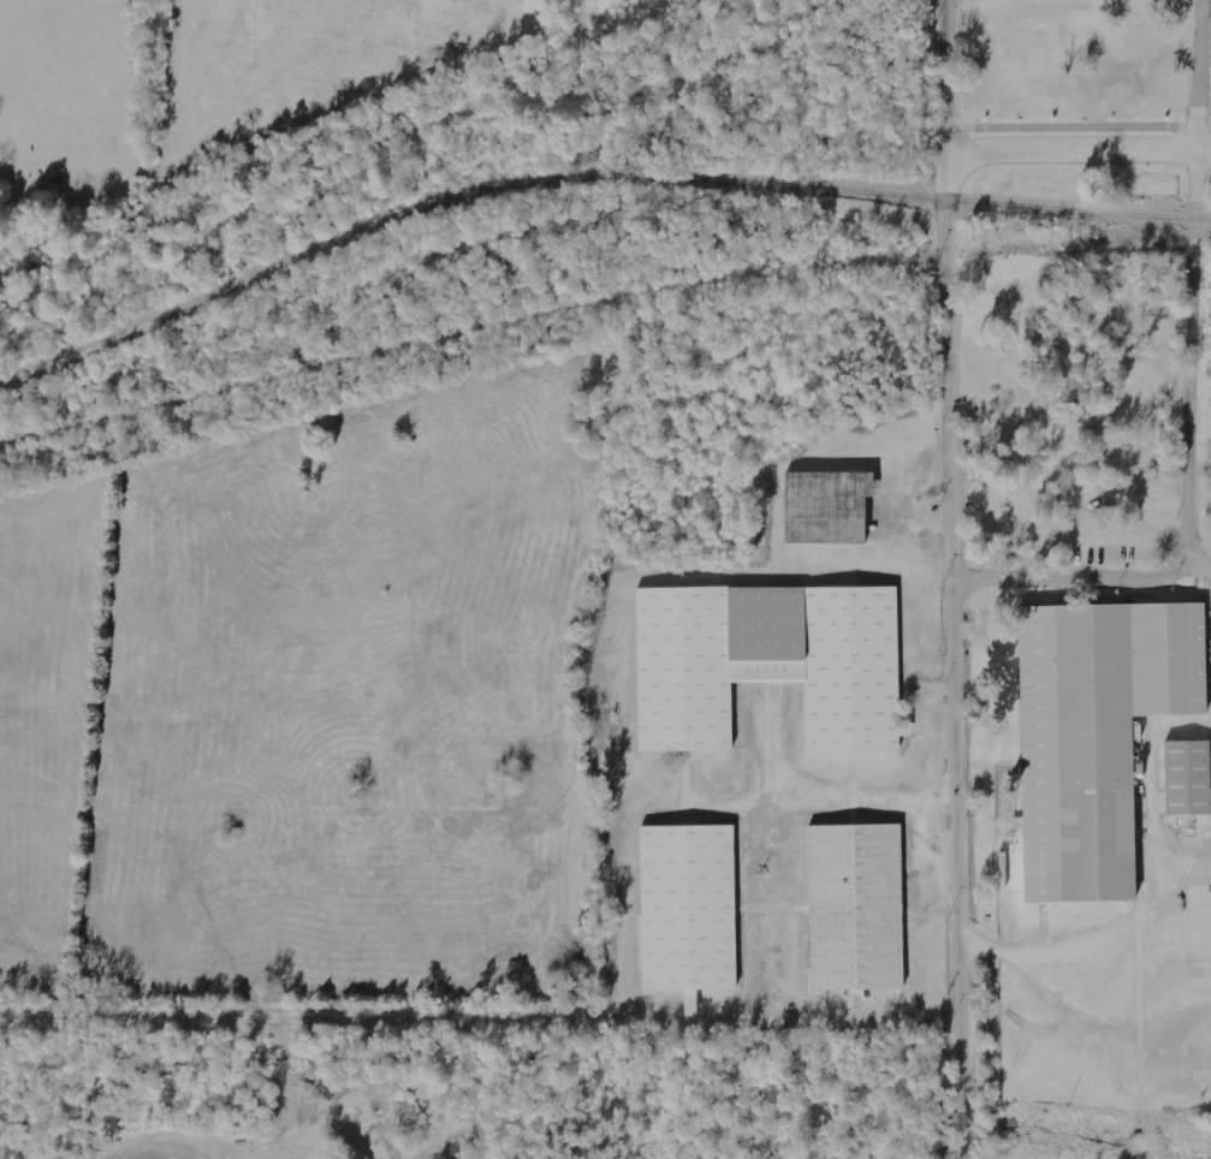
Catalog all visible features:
road: (1079, 126)
road: (1079, 149)
railway: (587, 176)
railway: (1069, 239)
railway: (1207, 243)
building: (1210, 266)
road: (1192, 275)
railway: (459, 333)
building: (826, 506)
road: (949, 578)
road: (1075, 581)
building: (767, 662)
building: (1094, 735)
building: (1186, 778)
building: (687, 909)
building: (854, 909)

